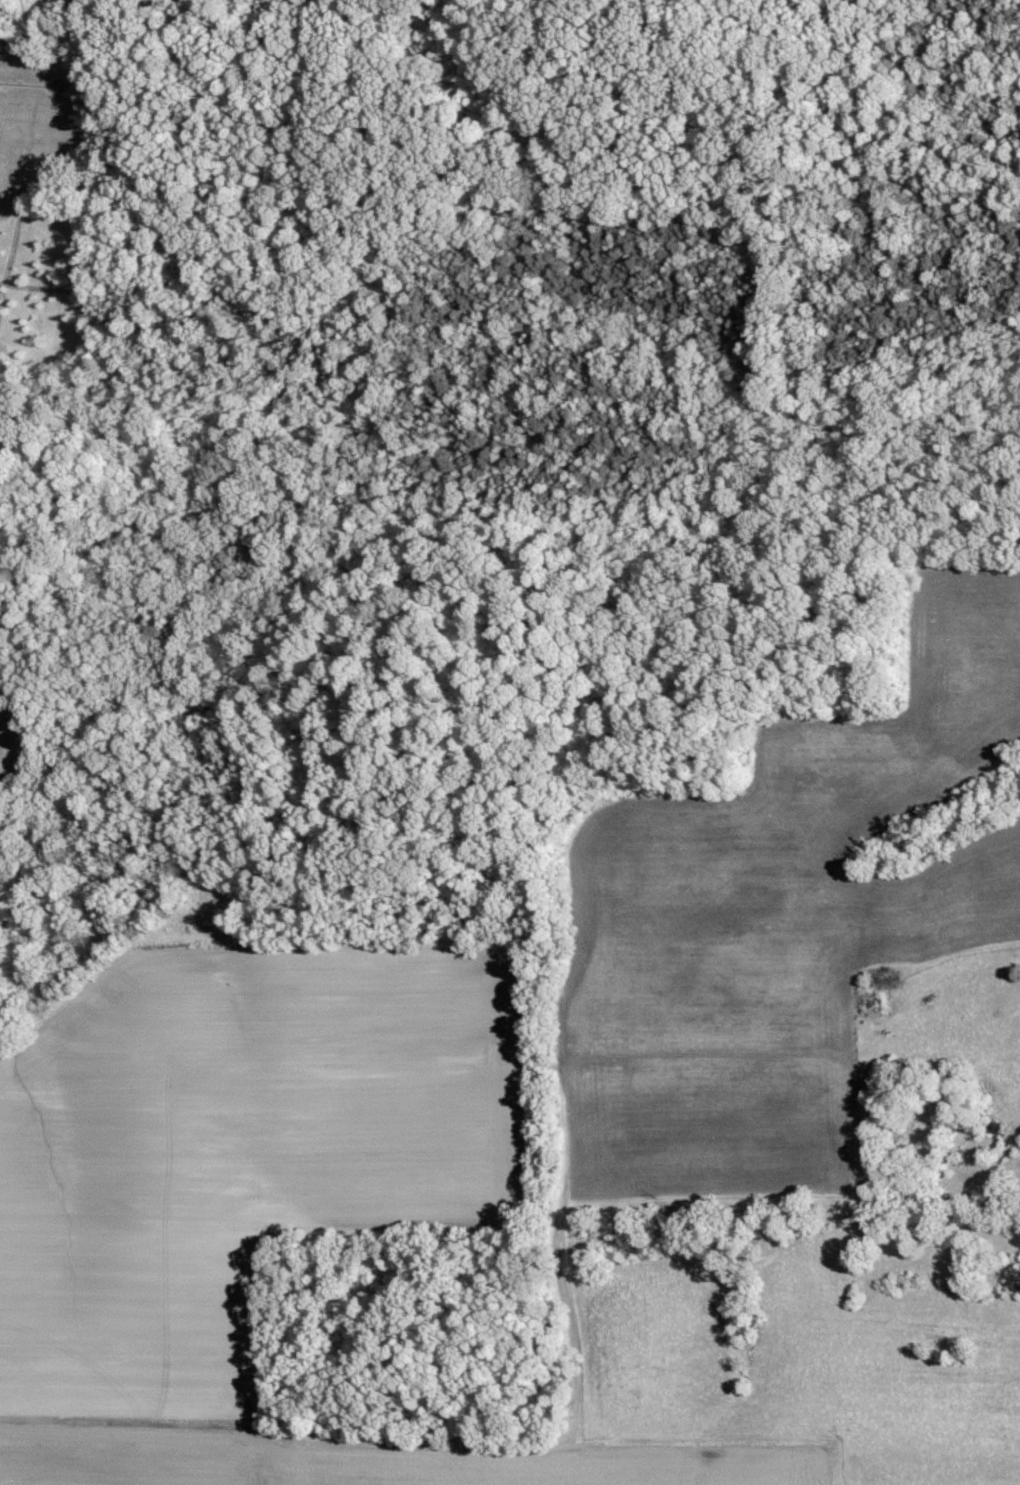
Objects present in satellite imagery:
road: (278, 1427)

